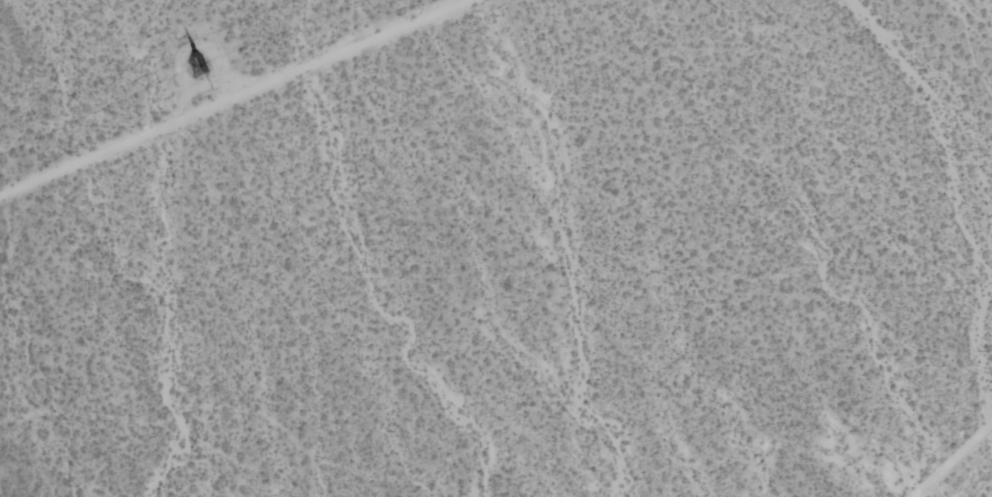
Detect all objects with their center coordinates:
power tower: (198, 70)
road: (231, 97)

